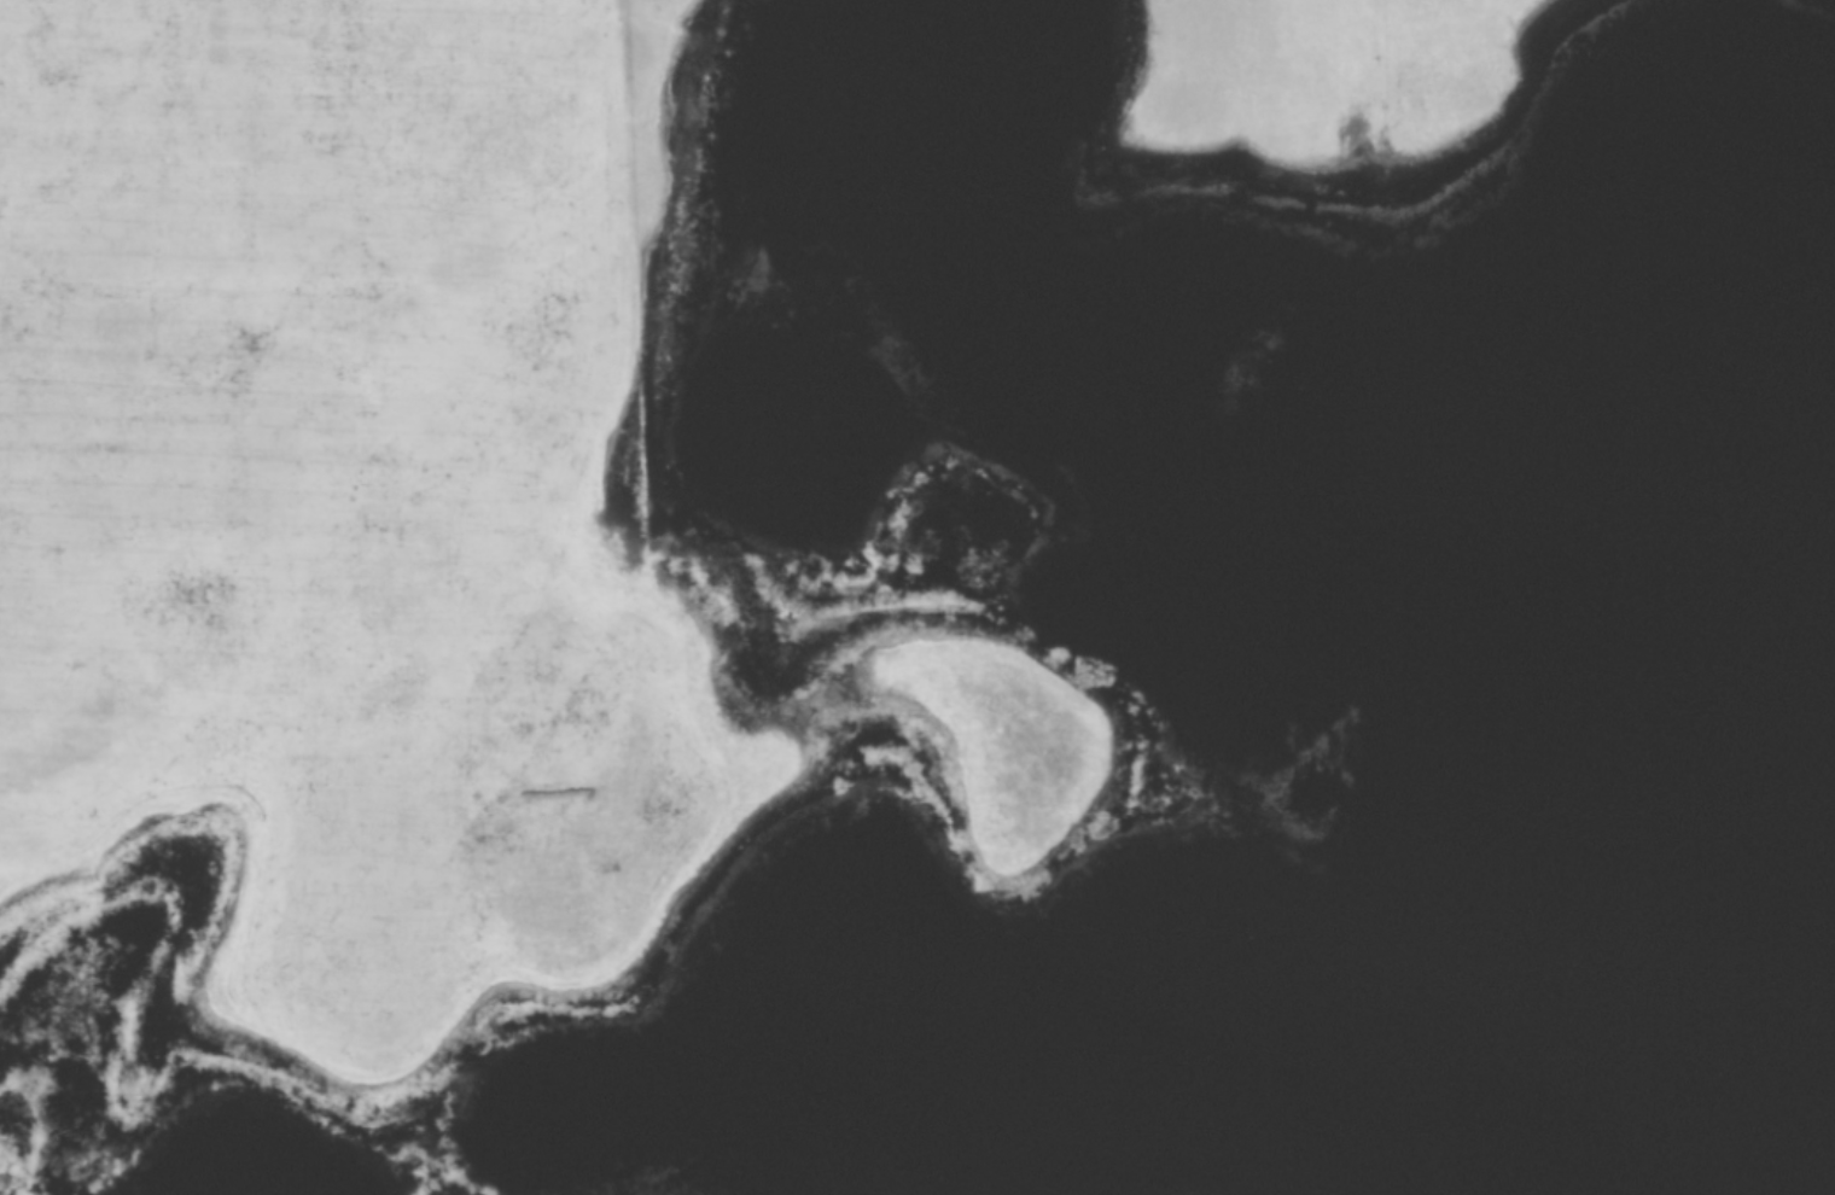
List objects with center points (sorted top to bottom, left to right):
building: (2, 1183)

